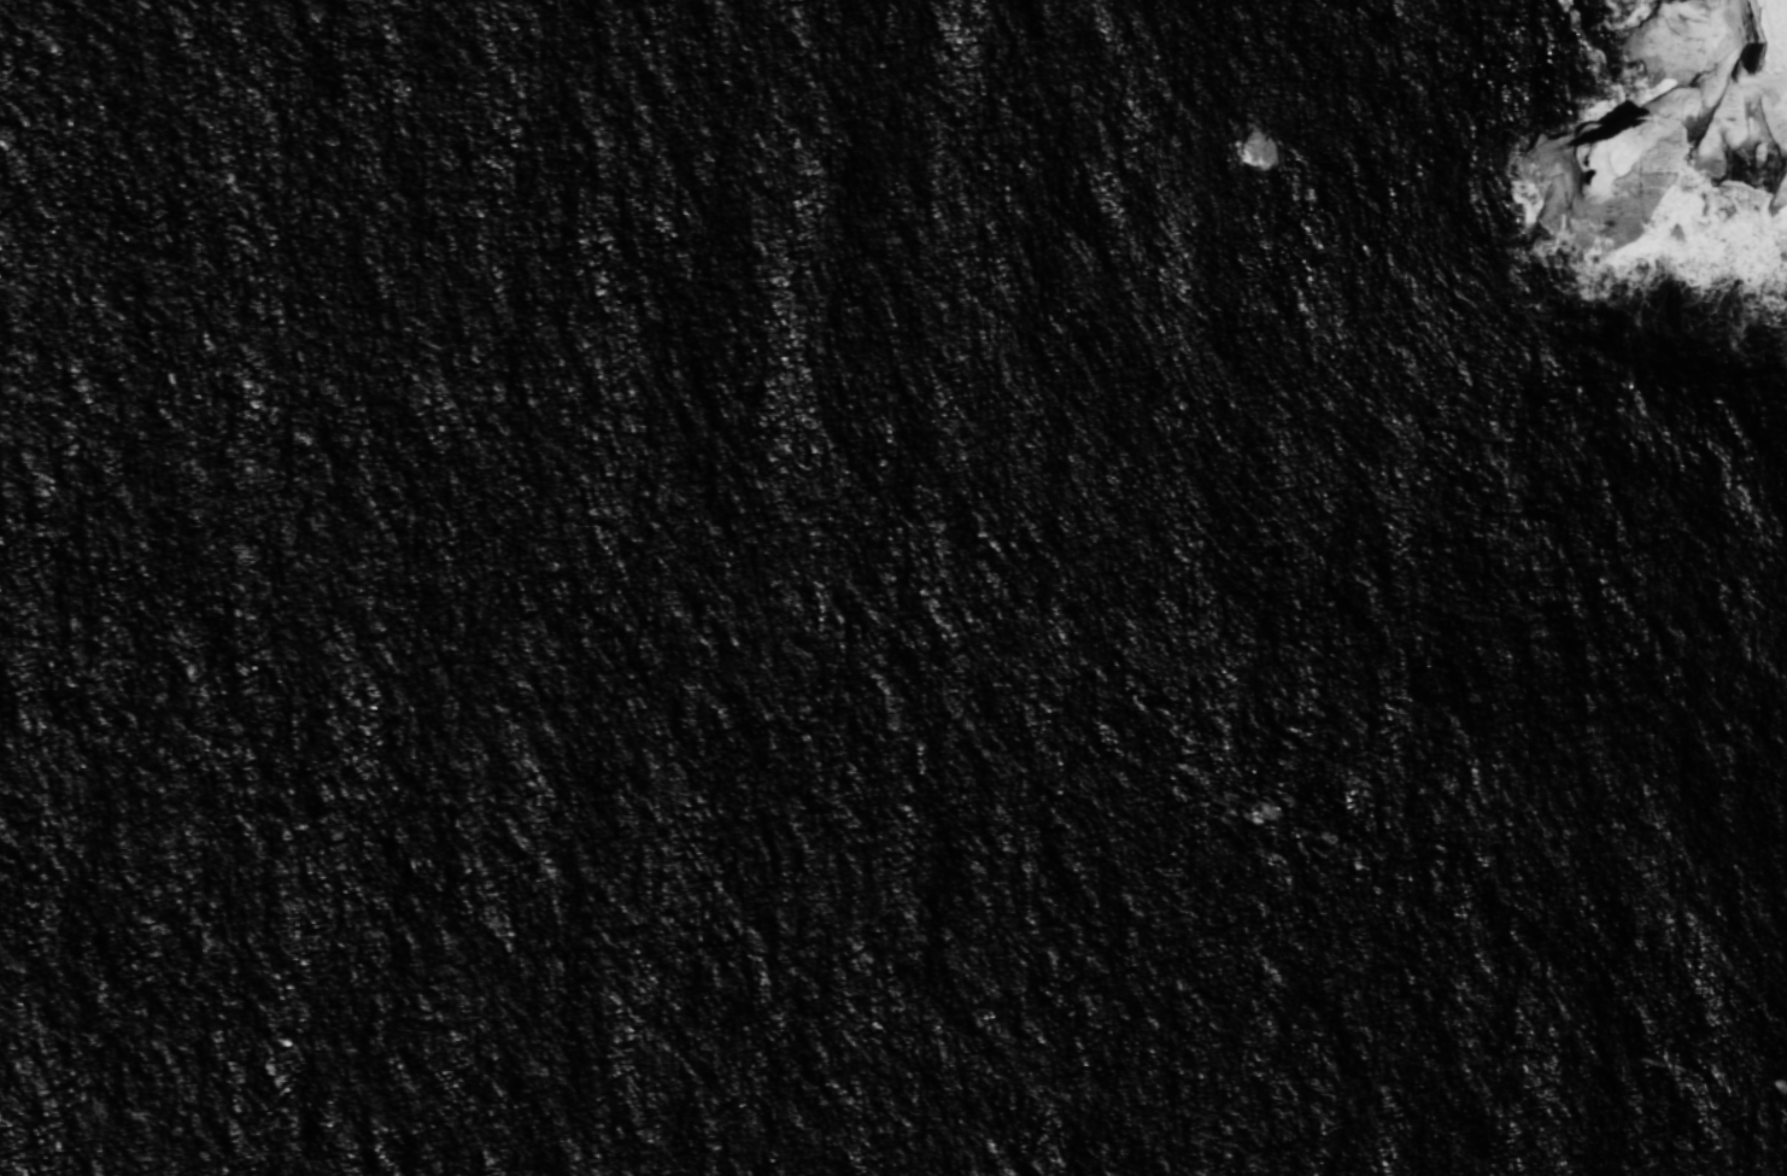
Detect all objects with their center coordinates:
park: (1774, 28)

